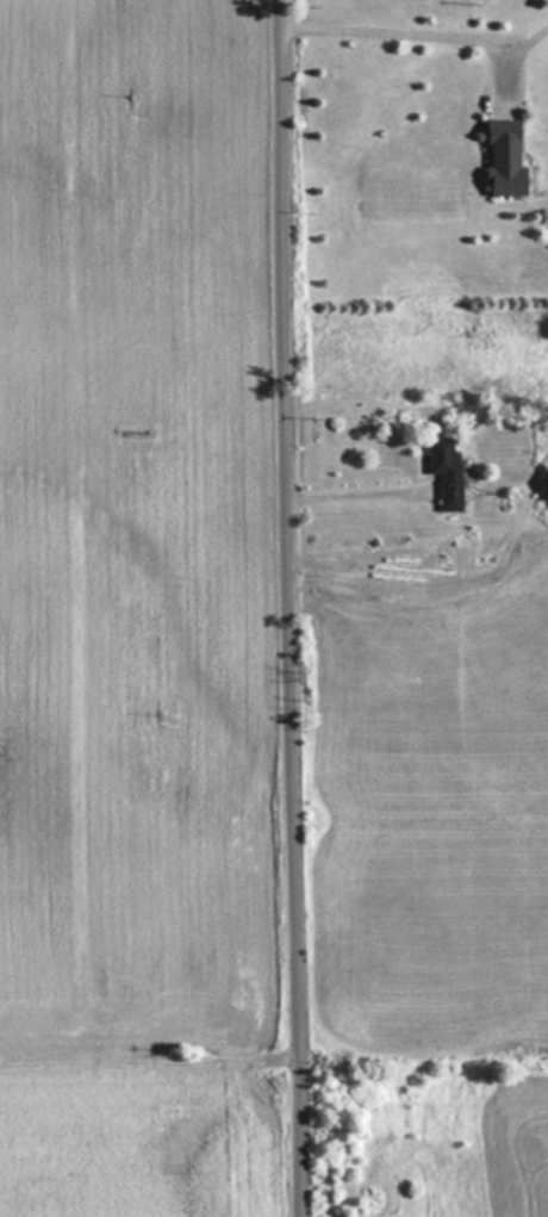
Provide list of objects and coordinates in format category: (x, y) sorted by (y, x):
building: (500, 157)
building: (443, 470)
building: (544, 483)
road: (293, 608)
road: (150, 1068)

